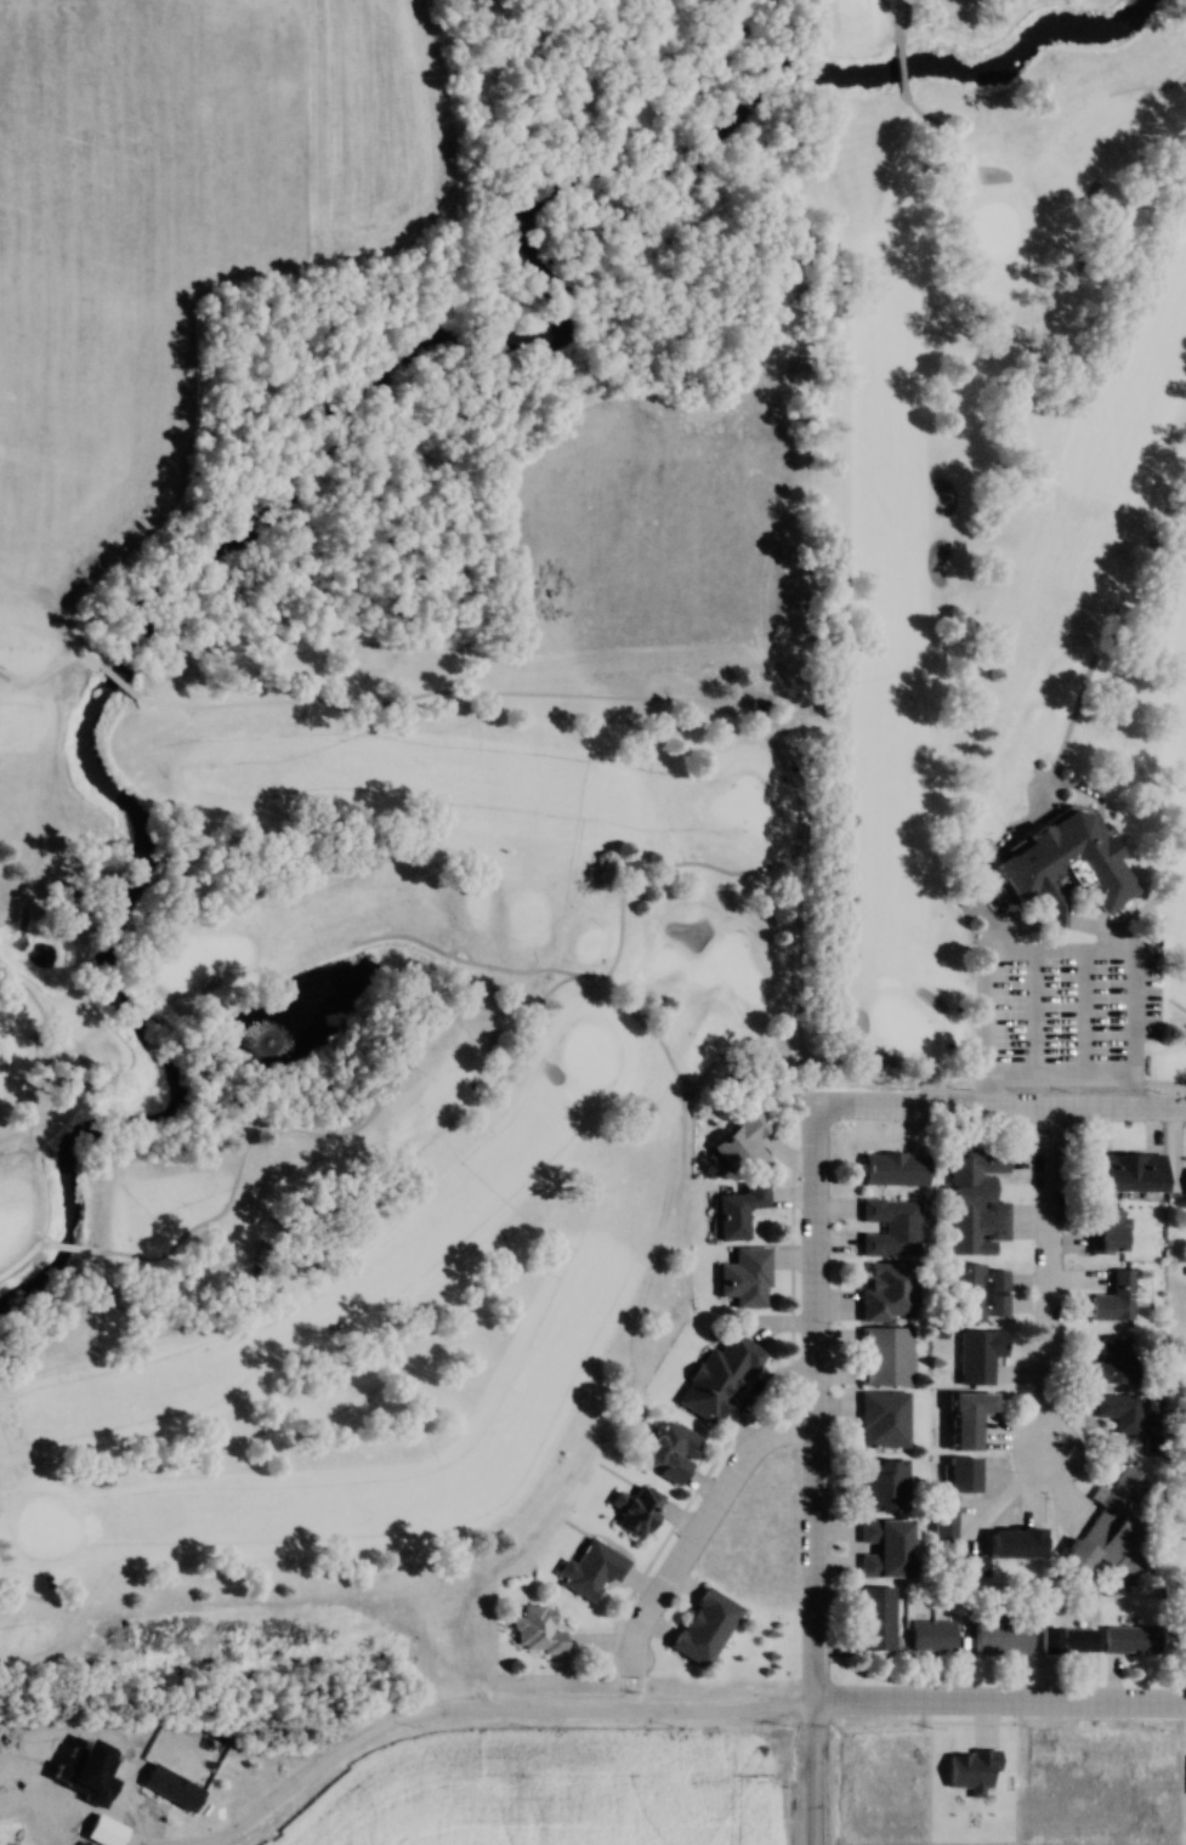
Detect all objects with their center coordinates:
road: (897, 10)
road: (910, 10)
road: (904, 30)
road: (906, 63)
road: (1154, 79)
road: (925, 102)
crop: (373, 127)
road: (934, 129)
crop: (127, 250)
road: (39, 679)
road: (100, 693)
road: (1069, 727)
road: (815, 795)
building: (1068, 863)
park: (595, 889)
road: (1034, 915)
road: (1054, 920)
road: (466, 936)
road: (557, 980)
road: (39, 989)
road: (1175, 995)
road: (656, 1022)
road: (393, 1052)
road: (217, 1067)
road: (925, 1074)
road: (1168, 1077)
road: (85, 1082)
road: (1003, 1112)
road: (688, 1124)
road: (248, 1142)
building: (740, 1145)
building: (893, 1169)
building: (1128, 1171)
building: (975, 1202)
building: (737, 1211)
building: (889, 1227)
building: (1106, 1231)
road: (66, 1236)
road: (22, 1249)
building: (745, 1278)
road: (1044, 1283)
building: (886, 1290)
building: (976, 1293)
building: (1113, 1299)
building: (980, 1355)
building: (883, 1356)
building: (1113, 1357)
building: (719, 1375)
road: (808, 1406)
building: (1120, 1412)
building: (969, 1418)
building: (883, 1419)
building: (670, 1452)
building: (963, 1475)
building: (883, 1483)
building: (635, 1510)
road: (702, 1521)
building: (944, 1522)
building: (1112, 1529)
building: (1016, 1543)
building: (885, 1548)
building: (590, 1568)
road: (28, 1580)
building: (875, 1619)
building: (705, 1628)
building: (534, 1630)
building: (931, 1635)
building: (1001, 1637)
building: (1067, 1641)
building: (1130, 1641)
road: (482, 1698)
road: (1004, 1707)
road: (822, 1775)
building: (171, 1789)
crop: (1015, 1789)
building: (103, 1832)

